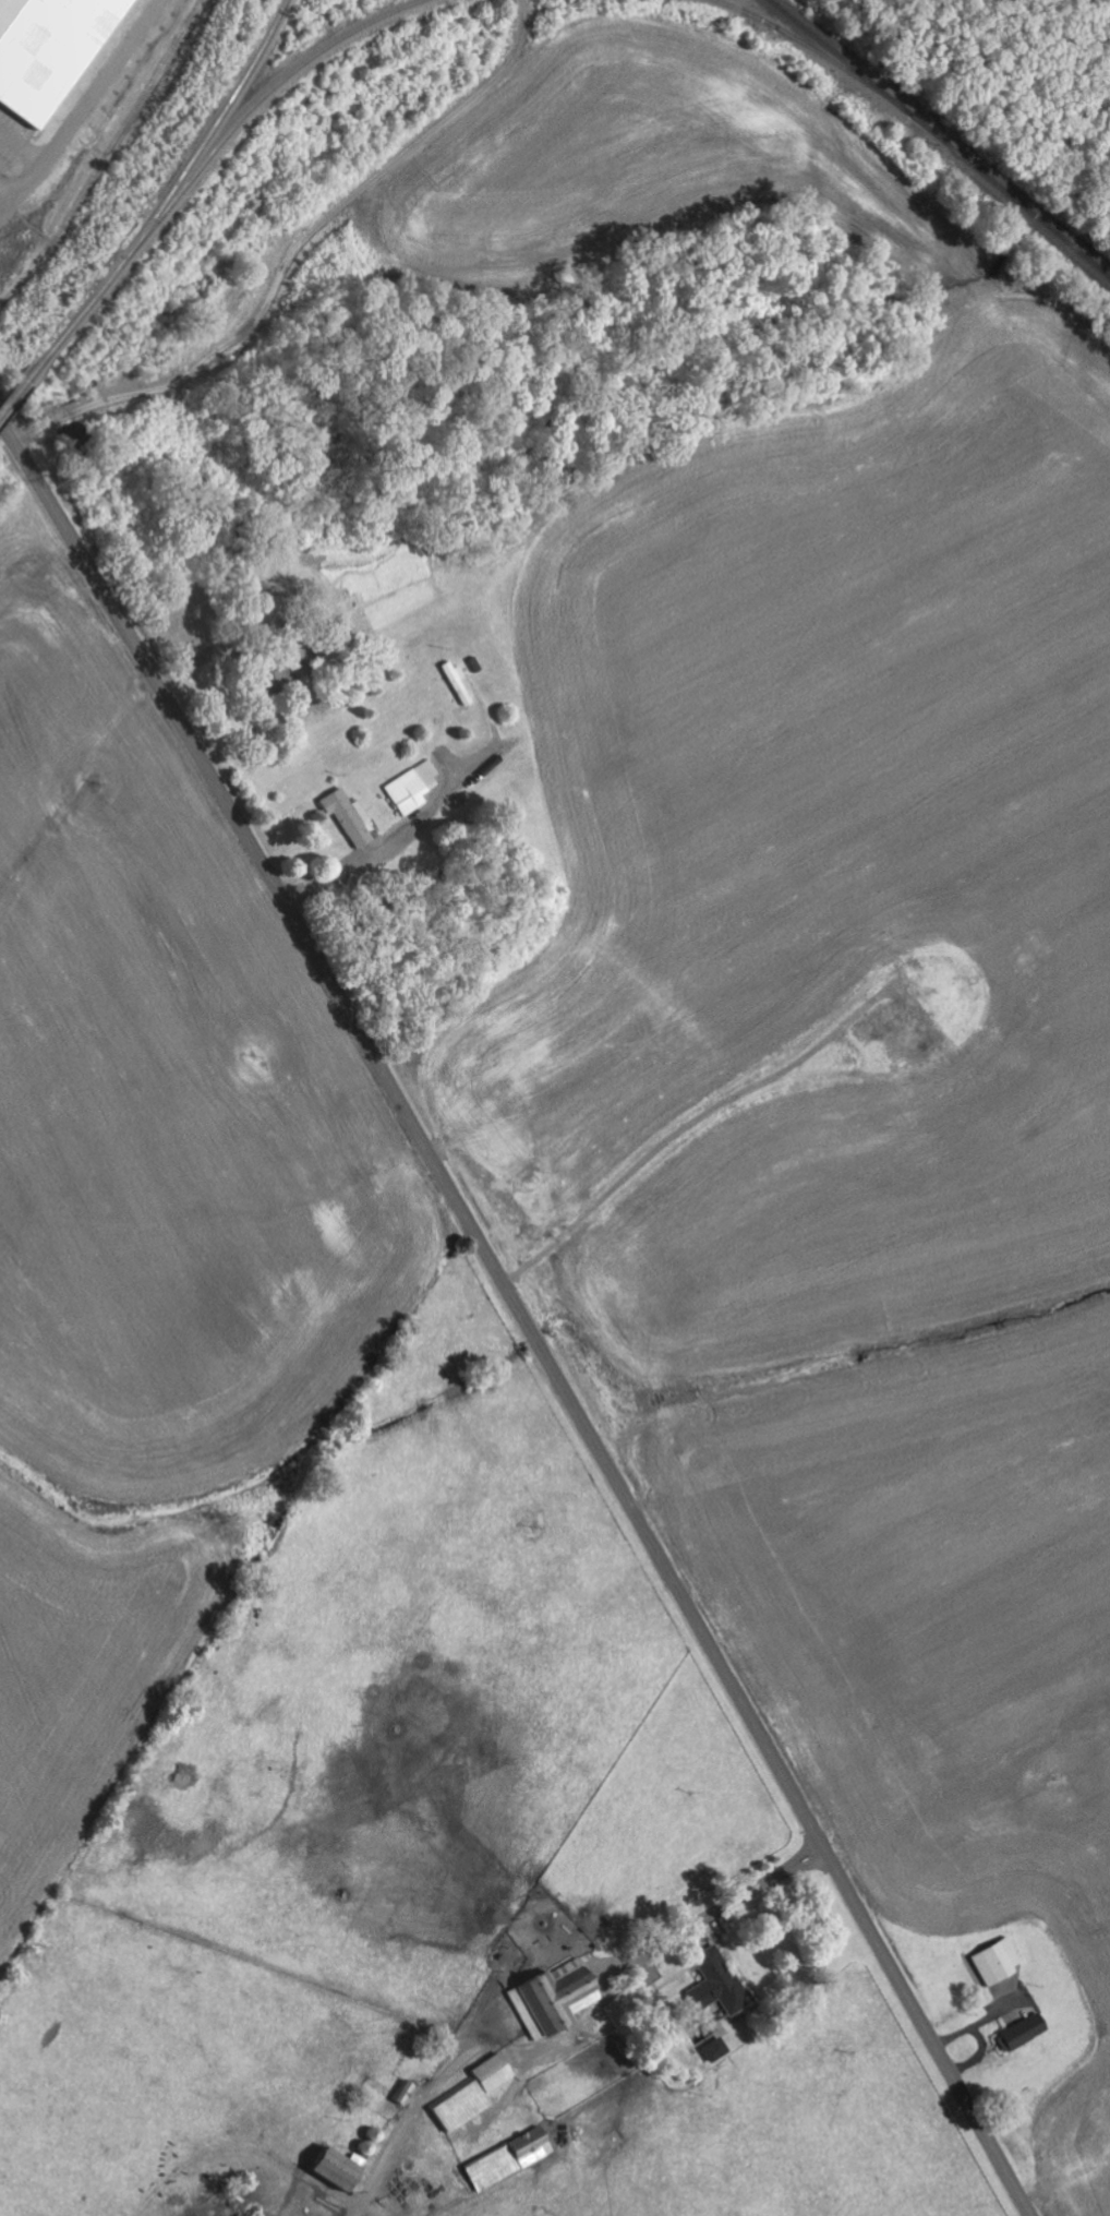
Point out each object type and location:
railway: (798, 43)
building: (49, 52)
railway: (250, 106)
railway: (938, 139)
railway: (161, 196)
railway: (10, 395)
building: (456, 684)
building: (412, 789)
road: (73, 794)
building: (349, 818)
road: (521, 1315)
building: (997, 1962)
building: (716, 1984)
building: (553, 1999)
building: (1024, 2032)
building: (714, 2050)
building: (405, 2094)
building: (472, 2095)
building: (365, 2149)
building: (508, 2159)
building: (336, 2168)

